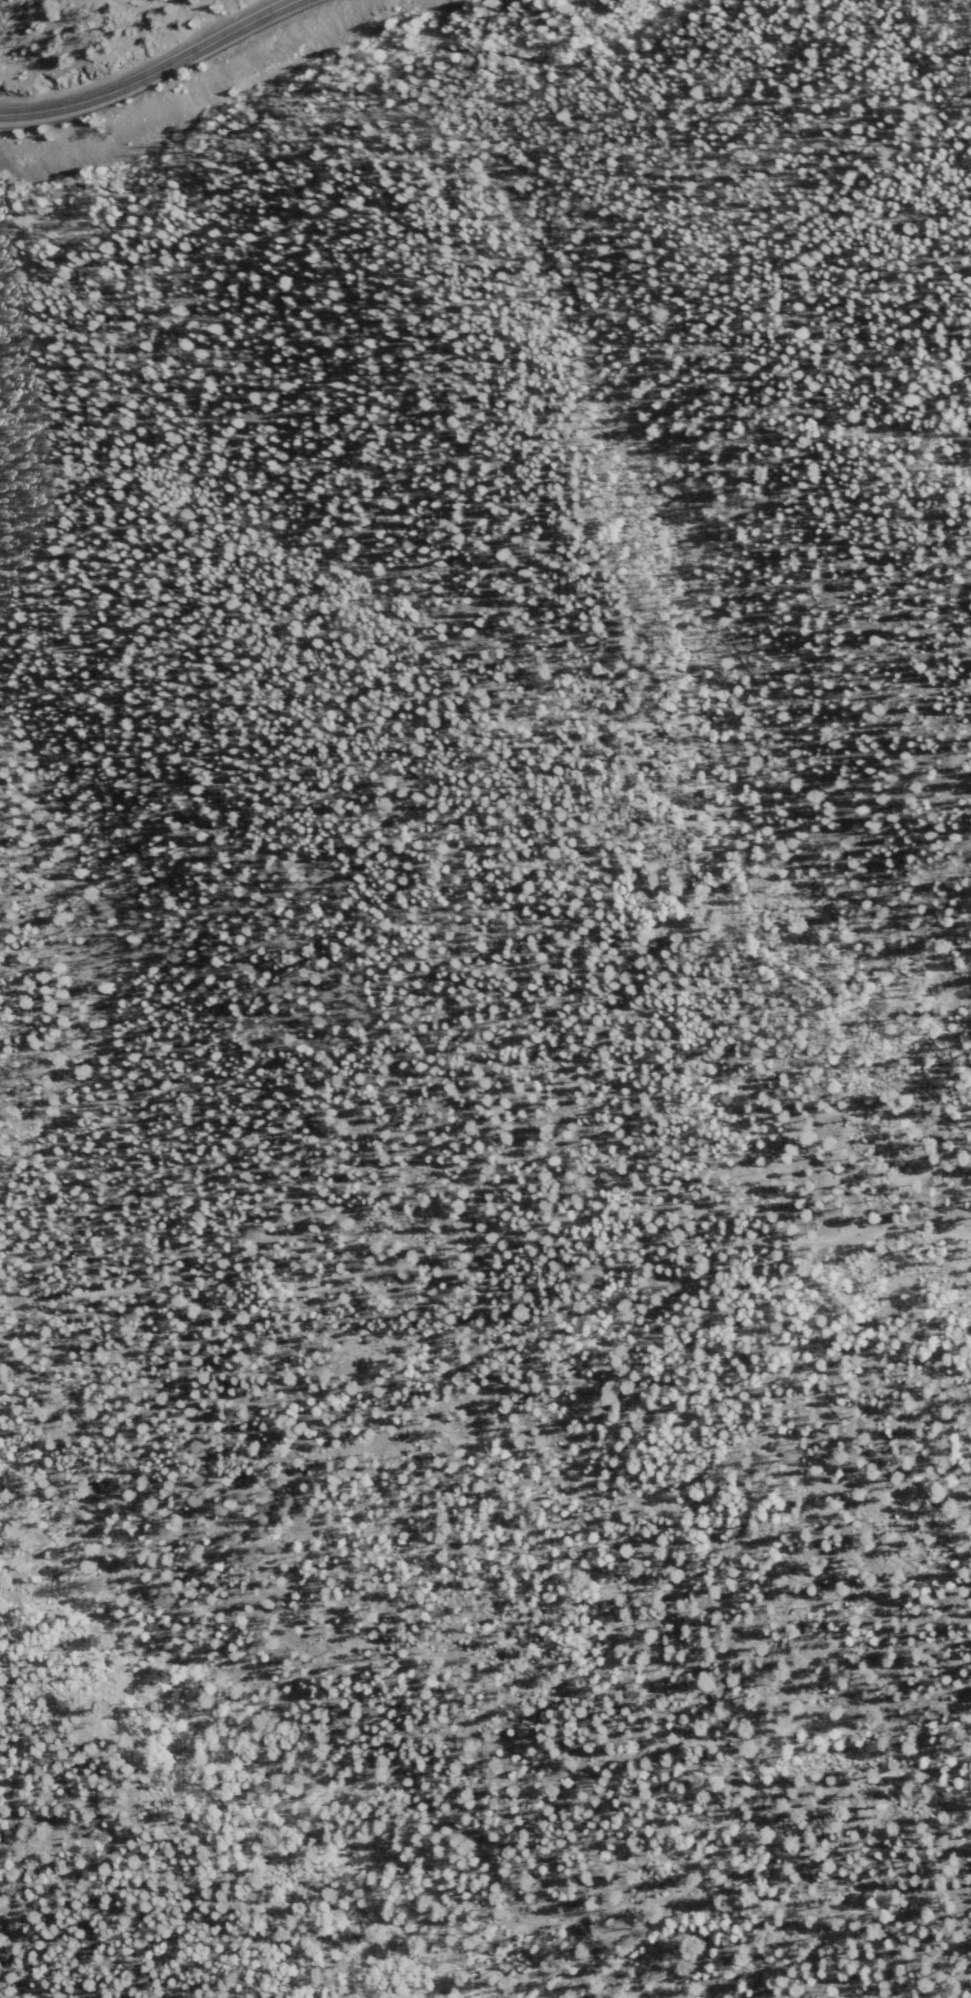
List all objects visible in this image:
road: (147, 73)
road: (965, 806)
park: (567, 1138)
road: (459, 1139)
road: (951, 1139)
road: (492, 1231)
road: (14, 1413)
road: (329, 1645)

